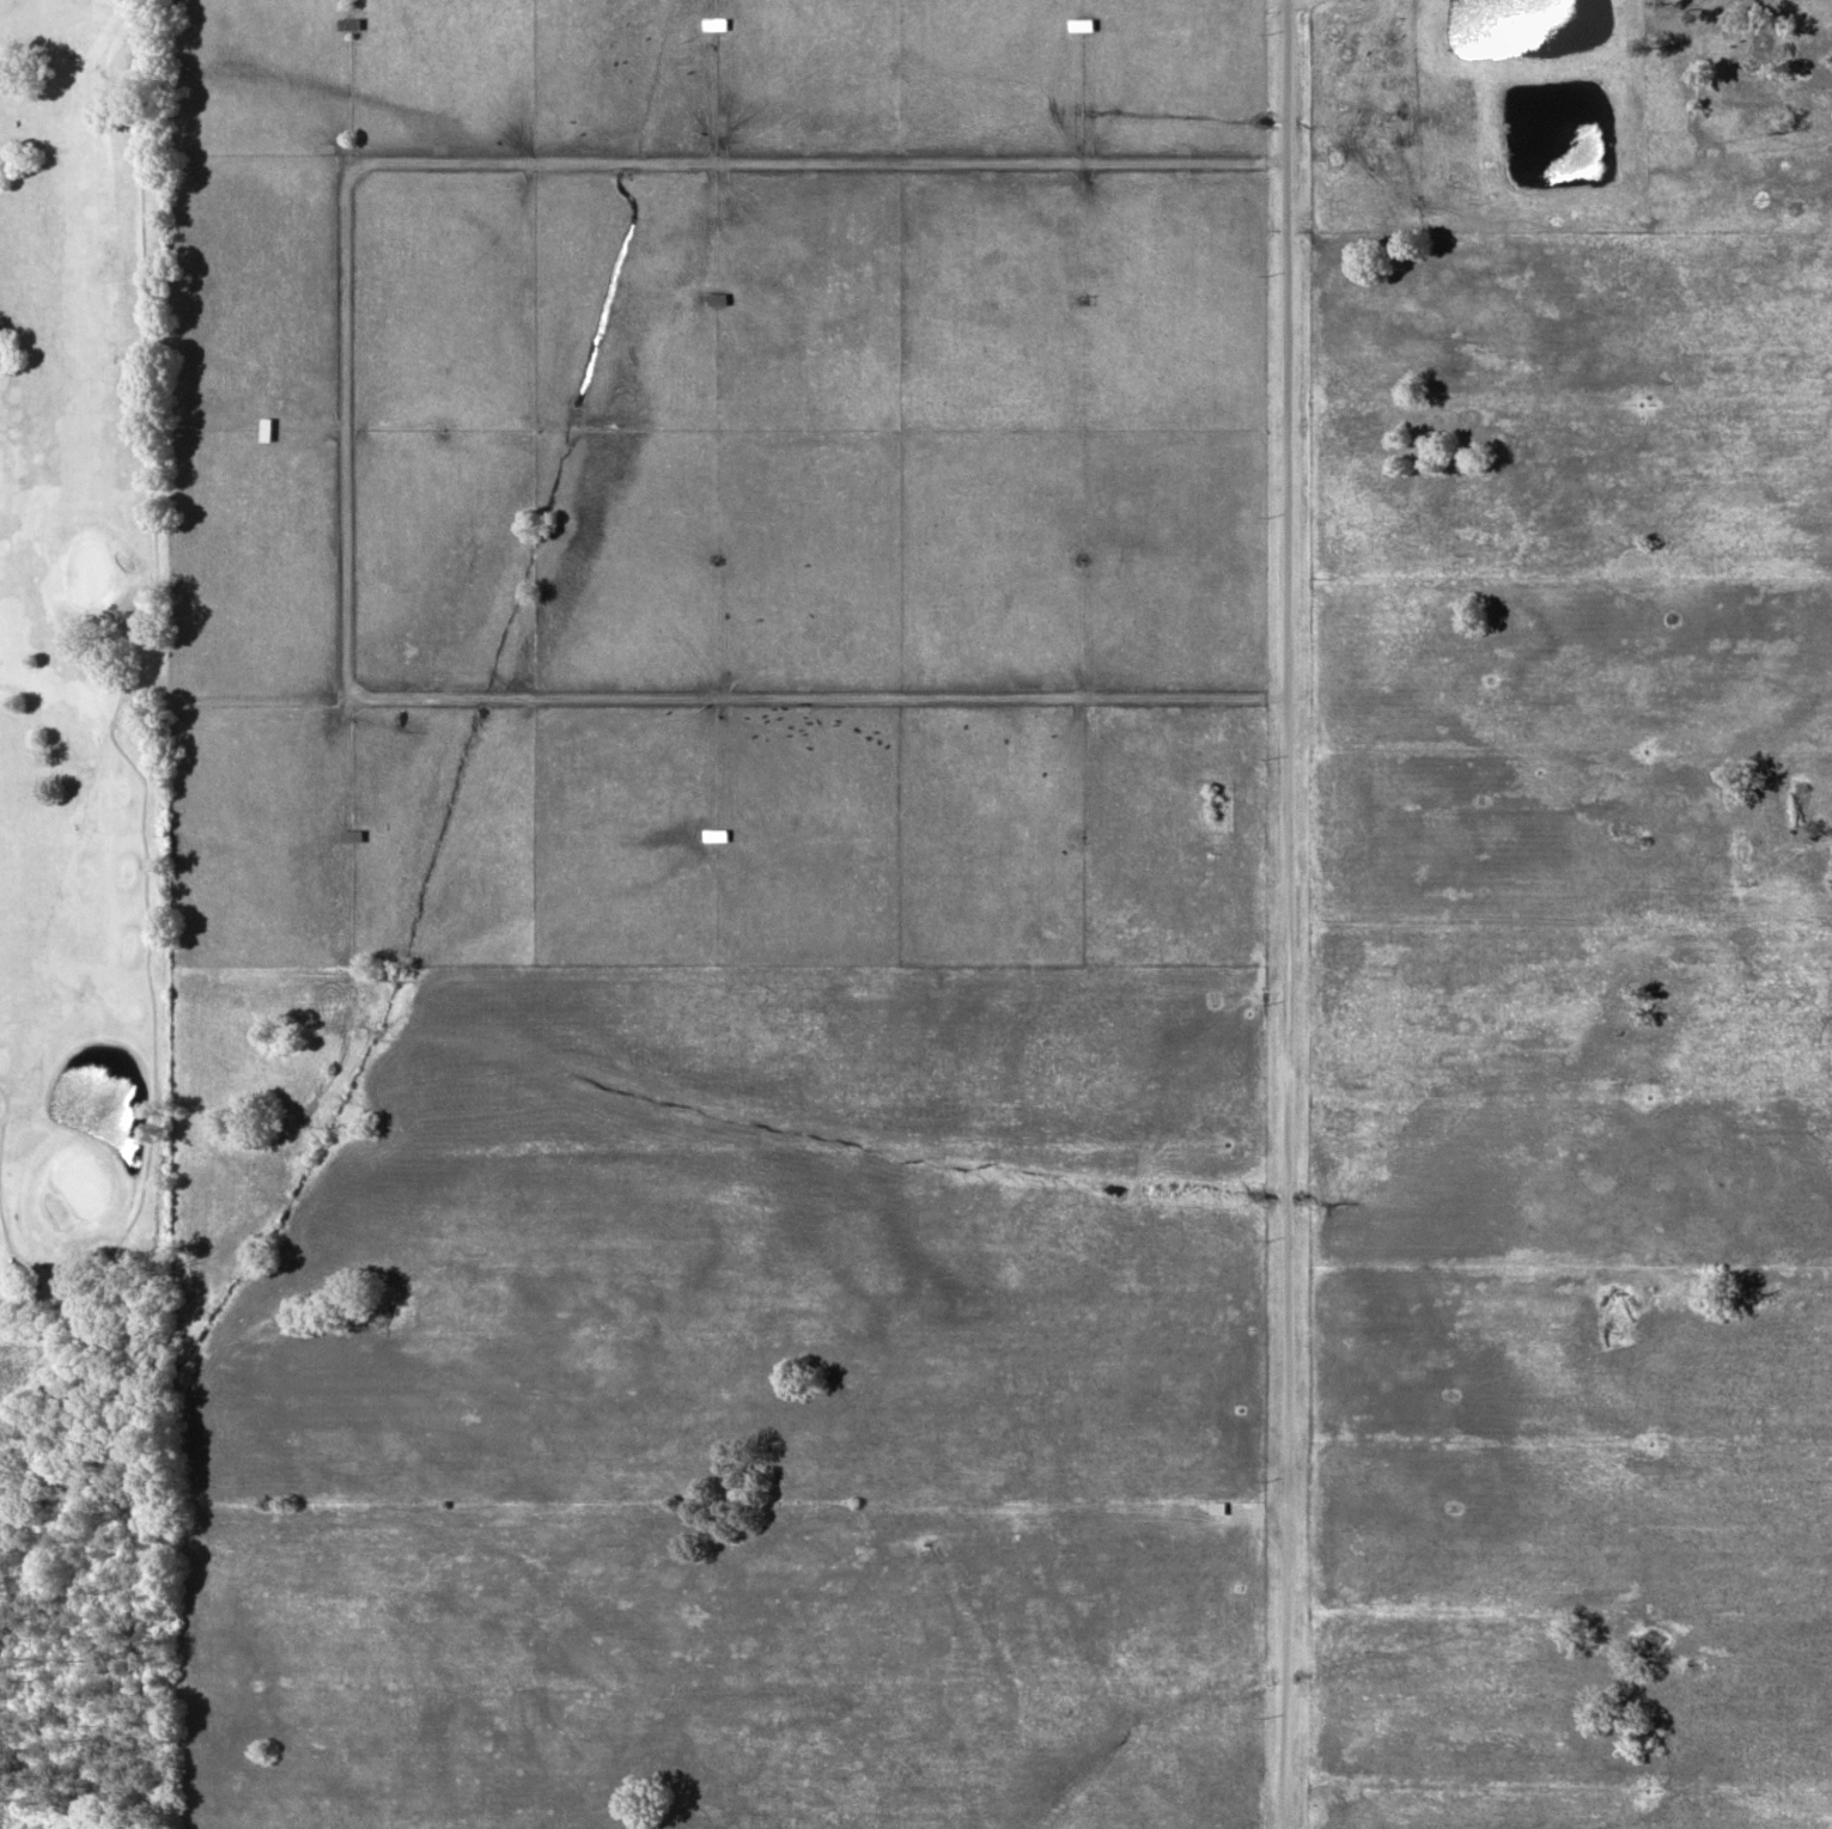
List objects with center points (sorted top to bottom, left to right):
building: (348, 22)
building: (713, 22)
building: (1079, 23)
building: (713, 297)
building: (1081, 298)
building: (264, 427)
building: (439, 427)
road: (343, 429)
building: (714, 557)
building: (1079, 557)
park: (80, 664)
building: (349, 834)
building: (714, 834)
road: (1284, 914)
building: (1216, 1506)

